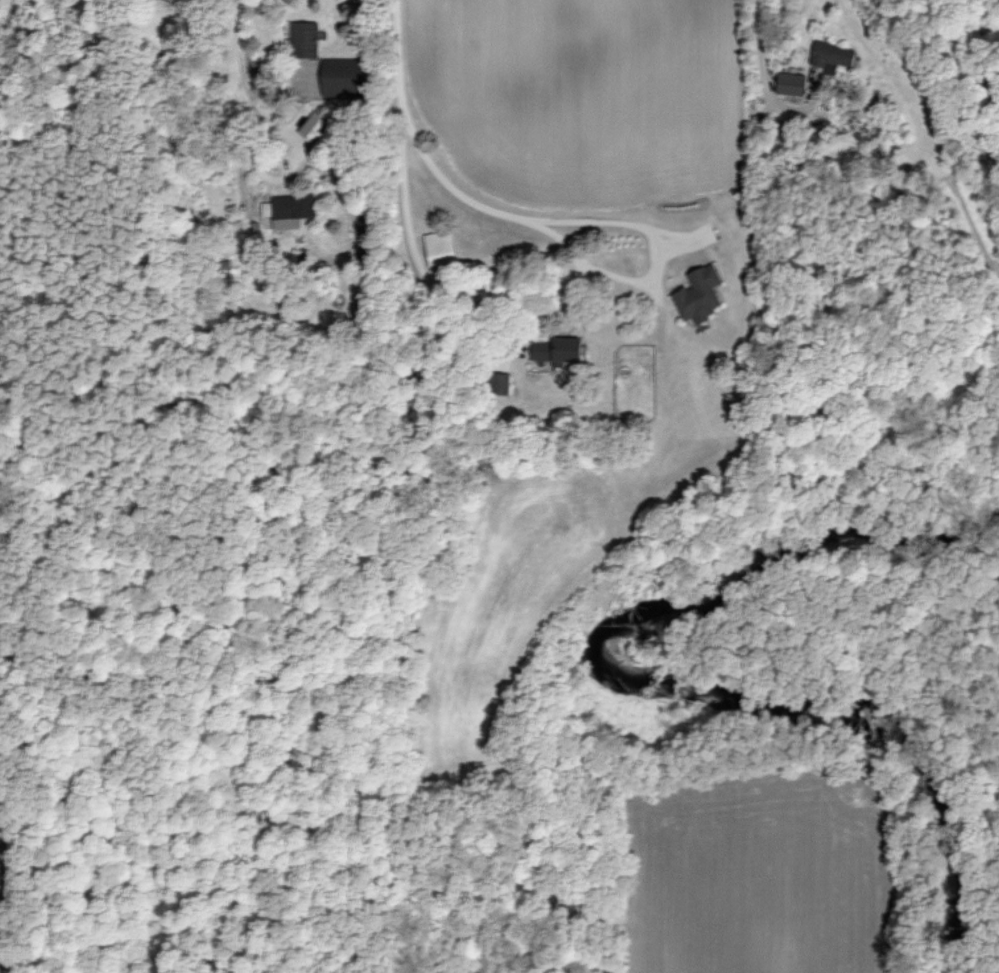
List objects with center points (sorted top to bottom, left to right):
building: (305, 38)
building: (831, 55)
road: (762, 65)
building: (343, 76)
road: (246, 79)
building: (792, 83)
building: (315, 126)
road: (463, 197)
road: (406, 204)
building: (293, 209)
building: (441, 247)
building: (700, 294)
building: (559, 350)
river: (645, 684)

